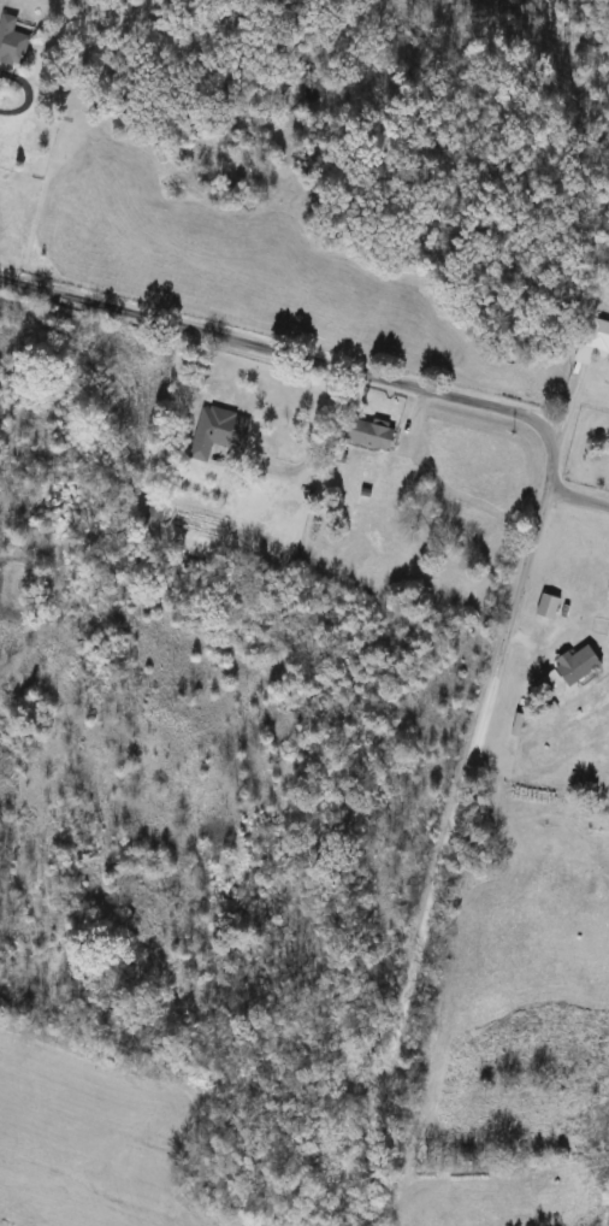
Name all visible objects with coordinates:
building: (12, 42)
road: (26, 93)
building: (593, 342)
building: (218, 434)
building: (367, 435)
road: (579, 499)
building: (154, 513)
road: (531, 554)
building: (548, 607)
building: (577, 665)
building: (520, 726)

